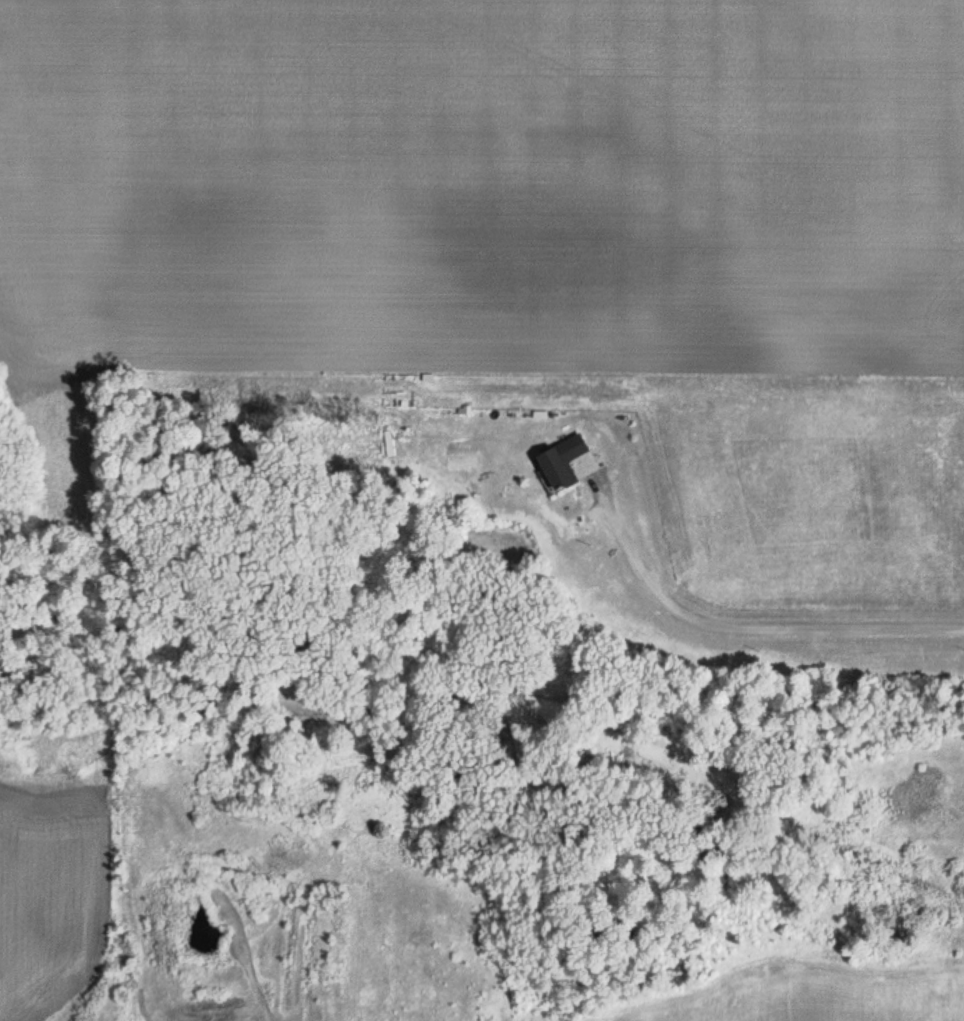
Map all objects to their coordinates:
building: (562, 462)

